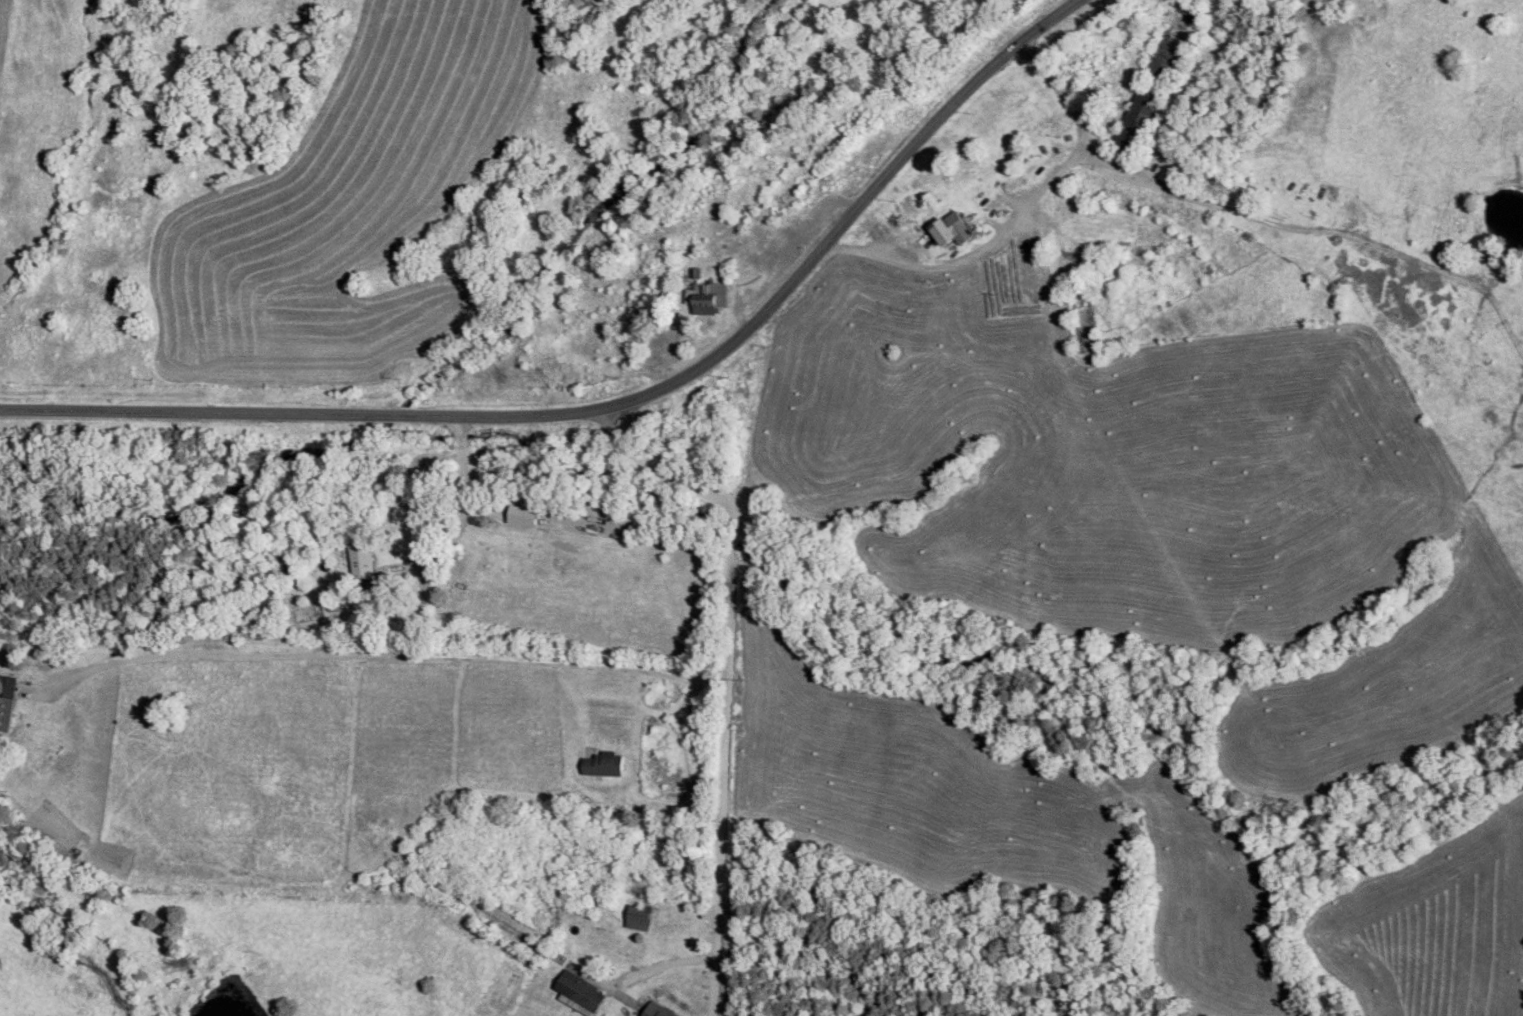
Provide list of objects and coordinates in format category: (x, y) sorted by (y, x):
road: (1022, 210)
building: (951, 229)
building: (712, 296)
road: (619, 409)
building: (522, 516)
building: (365, 566)
road: (416, 657)
road: (752, 677)
building: (7, 700)
building: (602, 764)
building: (637, 917)
building: (579, 993)
road: (633, 1001)
building: (657, 1010)

